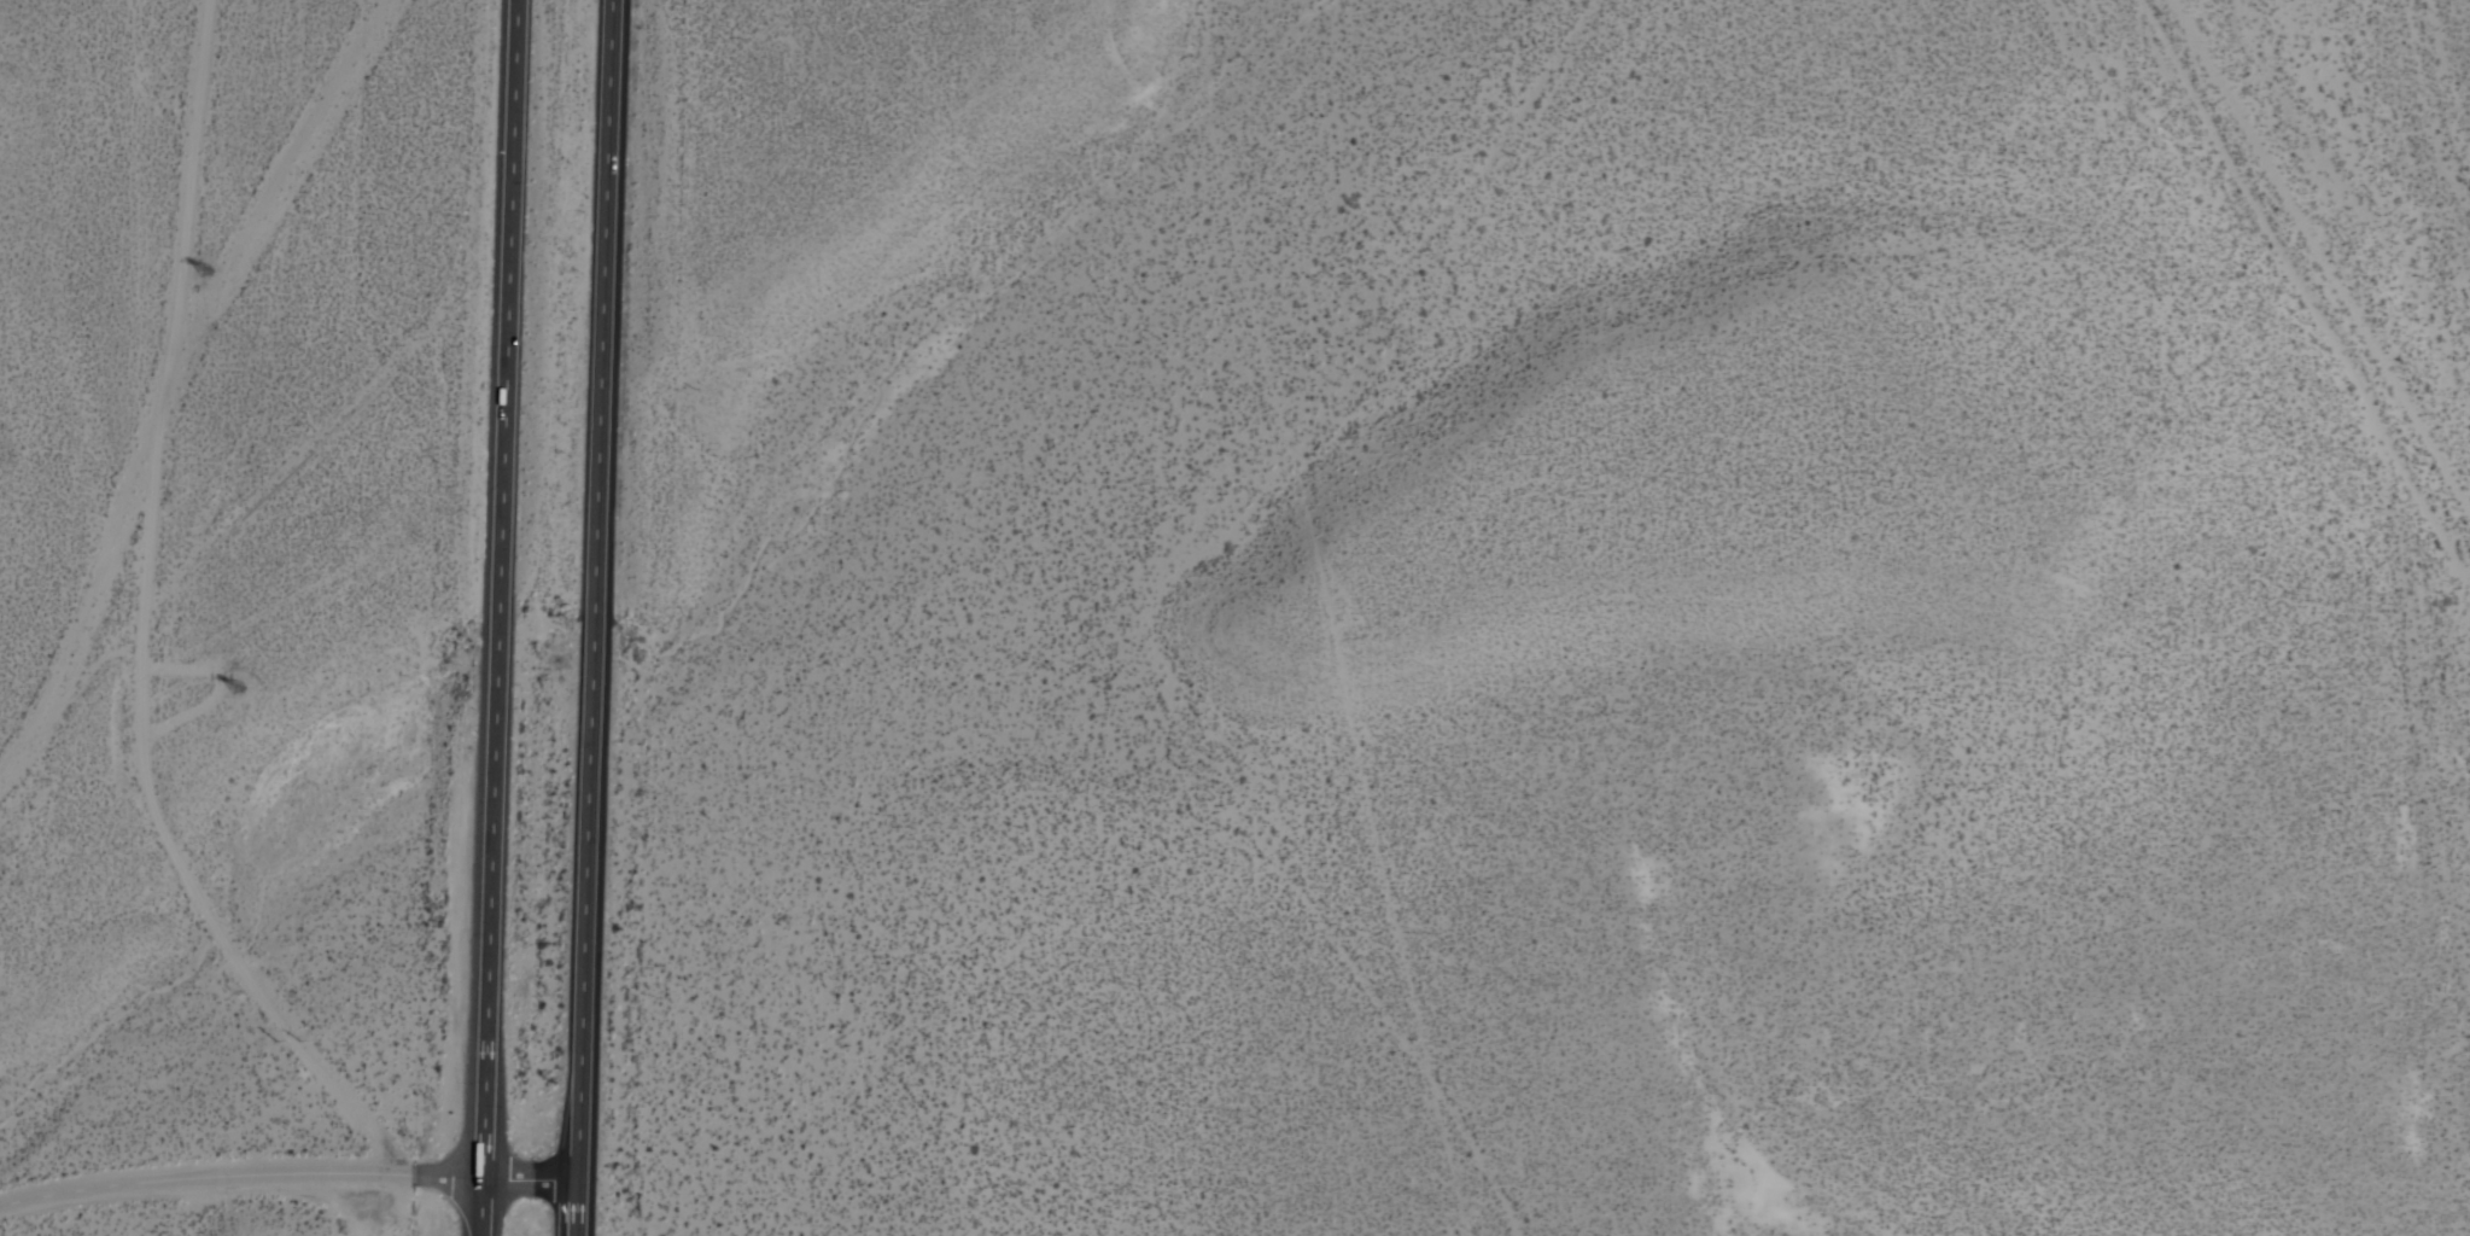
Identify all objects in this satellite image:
power tower: (194, 266)
road: (2297, 298)
road: (179, 375)
road: (595, 590)
road: (498, 618)
road: (127, 619)
power tower: (234, 699)
power tower: (274, 1095)
road: (240, 1174)
road: (529, 1180)
road: (430, 1206)
road: (573, 1208)

